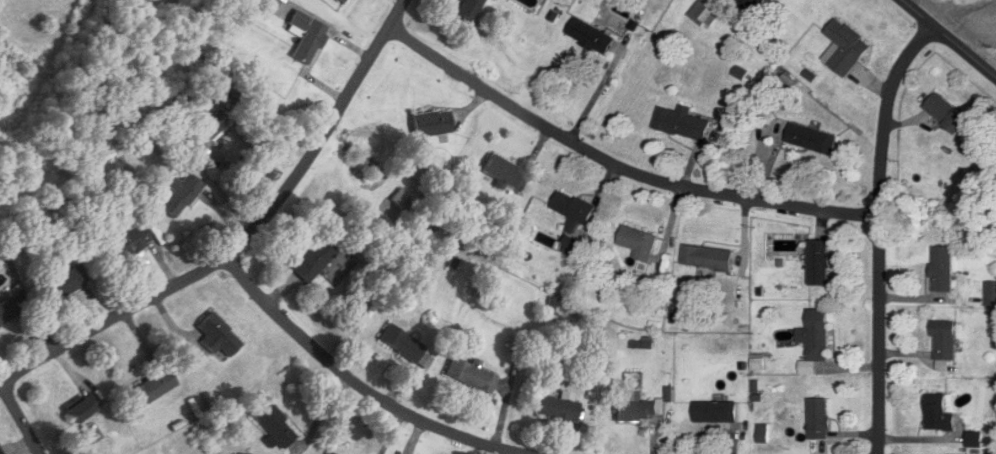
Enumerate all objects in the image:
building: (342, 1)
building: (759, 2)
building: (470, 9)
building: (705, 15)
building: (591, 36)
building: (307, 37)
road: (949, 39)
building: (847, 47)
building: (948, 113)
building: (432, 123)
building: (682, 123)
building: (208, 127)
building: (812, 138)
road: (617, 167)
building: (506, 172)
building: (180, 194)
building: (574, 210)
road: (875, 231)
road: (246, 235)
building: (130, 242)
building: (640, 243)
building: (572, 246)
building: (708, 258)
building: (314, 260)
building: (819, 262)
building: (943, 269)
building: (67, 282)
building: (991, 294)
building: (8, 311)
building: (218, 335)
building: (816, 335)
building: (945, 342)
building: (404, 344)
building: (471, 375)
road: (344, 376)
building: (152, 388)
building: (559, 407)
building: (83, 408)
building: (640, 409)
building: (717, 412)
building: (939, 413)
building: (819, 418)
road: (17, 421)
building: (272, 424)
building: (975, 439)
building: (0, 452)
building: (328, 453)

